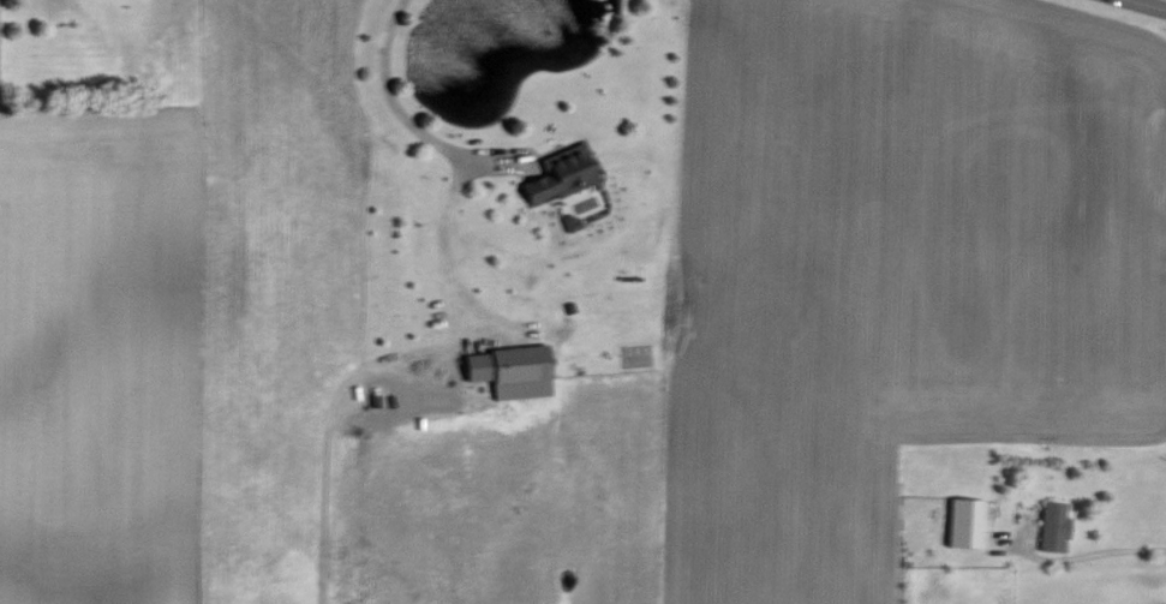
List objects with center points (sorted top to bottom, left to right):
road: (1150, 4)
road: (447, 149)
building: (561, 177)
building: (570, 223)
building: (510, 372)
building: (965, 525)
building: (1053, 527)
road: (1087, 555)

